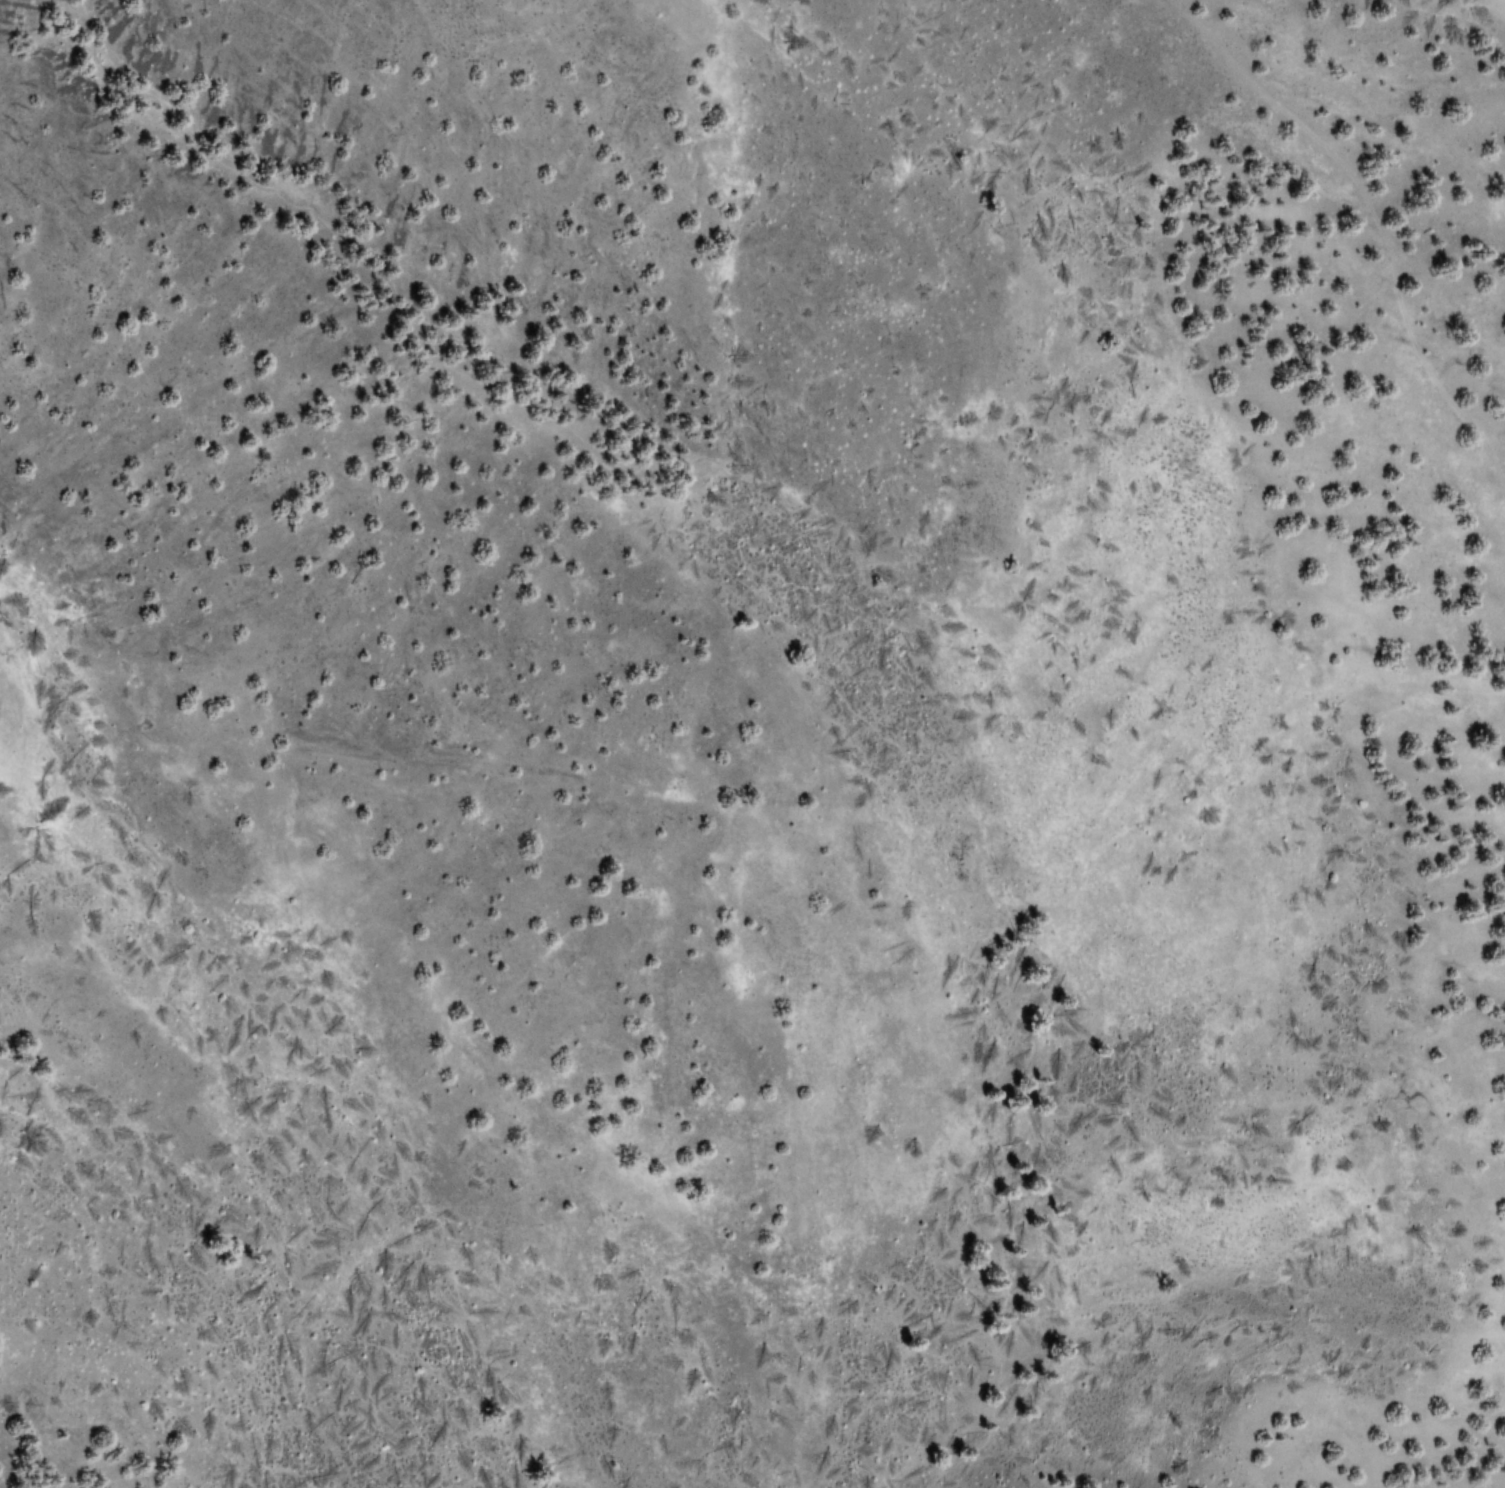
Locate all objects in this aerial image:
road: (1359, 219)

